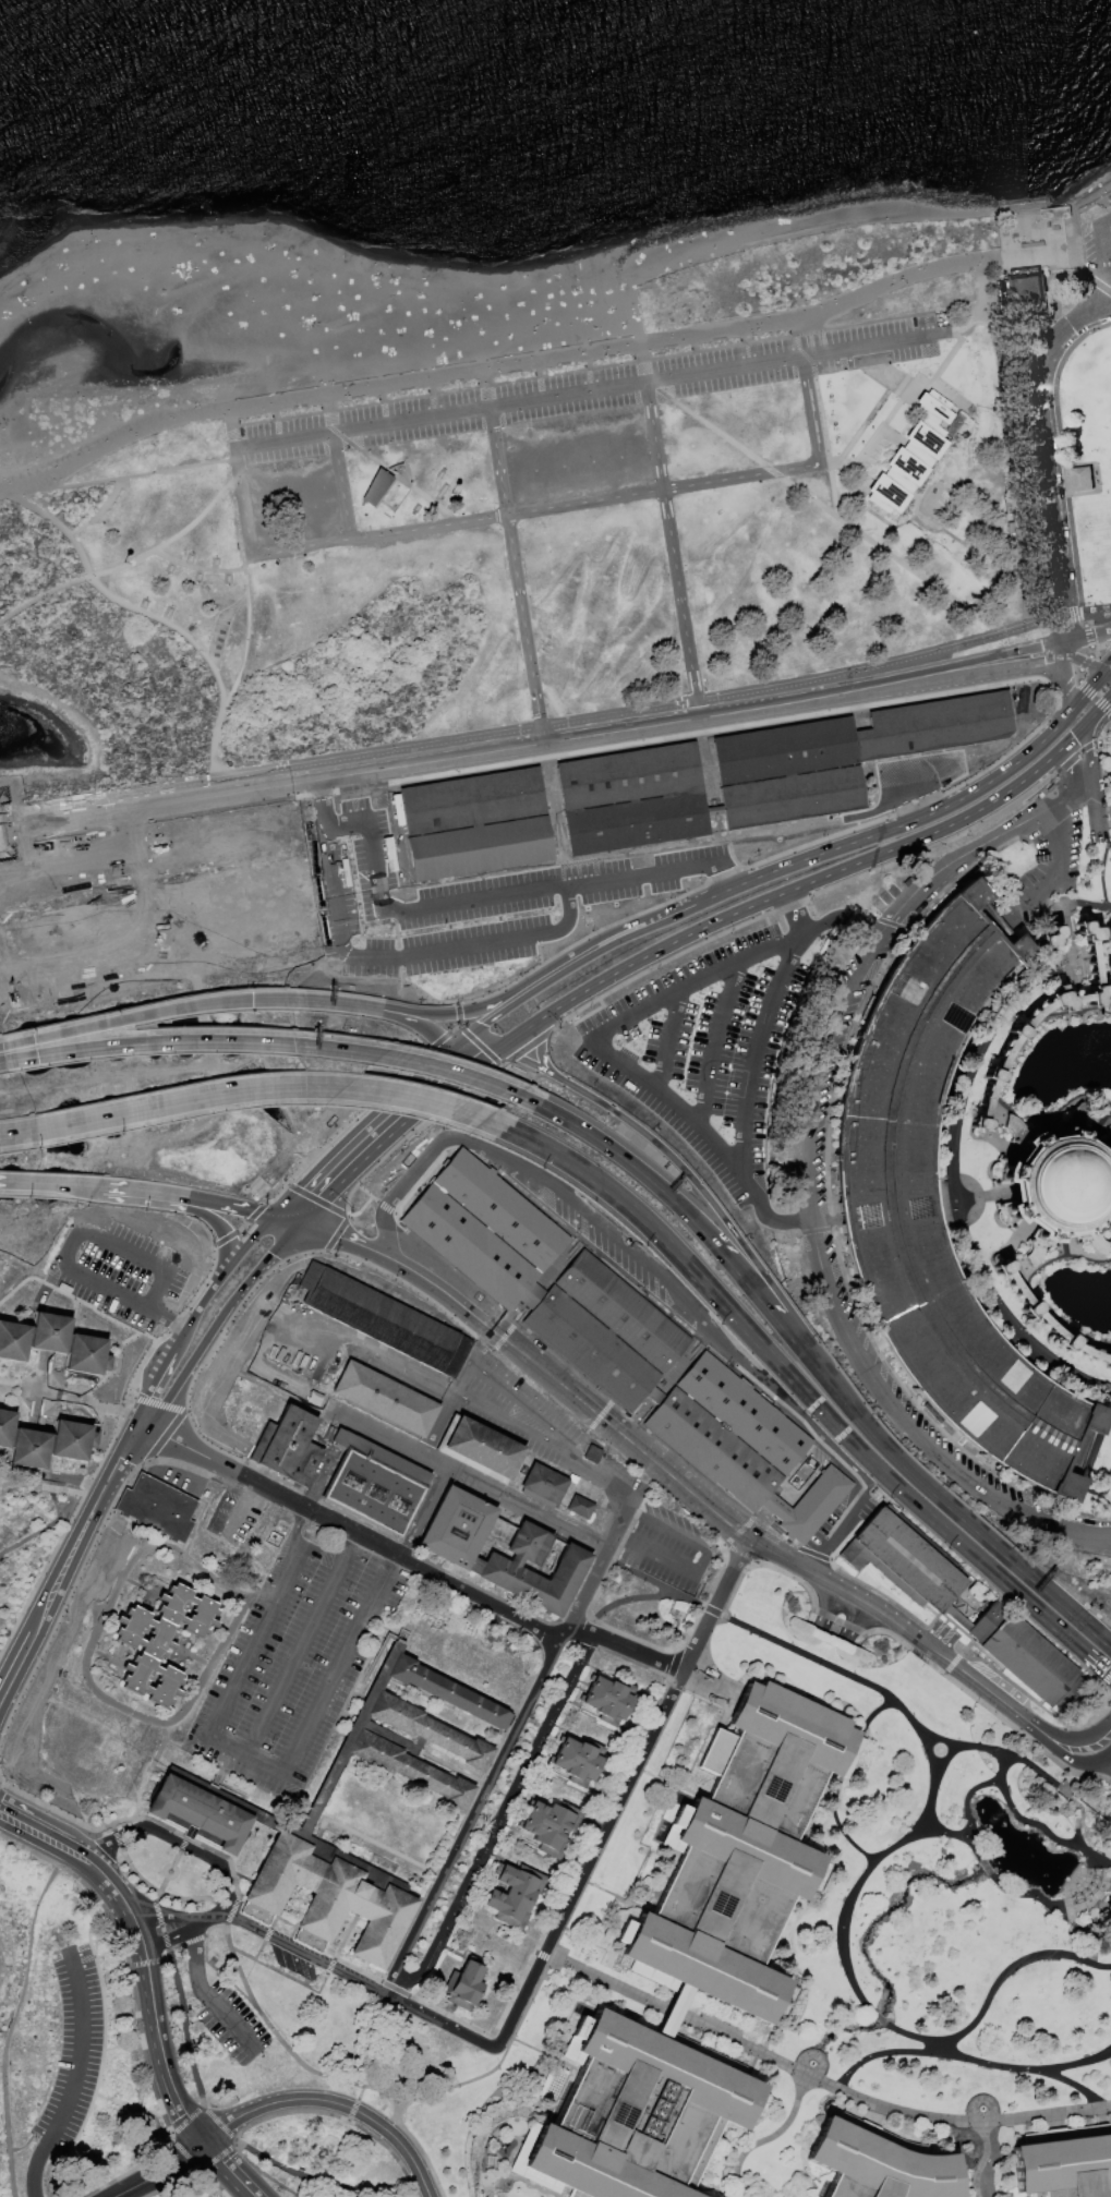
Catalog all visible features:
road: (1074, 214)
road: (1104, 222)
parking lot: (1097, 246)
road: (1104, 255)
road: (880, 288)
building: (1026, 292)
park: (111, 303)
road: (982, 304)
road: (983, 322)
road: (1032, 323)
road: (745, 348)
road: (642, 365)
road: (587, 369)
road: (538, 376)
road: (485, 384)
parking lot: (587, 388)
road: (594, 393)
road: (431, 394)
road: (312, 399)
wind turbine: (820, 399)
road: (382, 401)
road: (328, 410)
road: (871, 411)
road: (811, 412)
road: (819, 415)
road: (275, 419)
road: (233, 425)
road: (1043, 440)
wind turbine: (828, 443)
road: (575, 447)
park: (1089, 454)
building: (911, 457)
road: (1009, 466)
road: (118, 478)
building: (1079, 478)
road: (396, 480)
building: (375, 487)
road: (340, 488)
road: (242, 505)
road: (822, 507)
road: (97, 510)
road: (535, 510)
road: (172, 536)
road: (671, 552)
road: (195, 568)
road: (515, 577)
road: (41, 593)
road: (118, 601)
road: (1088, 611)
road: (217, 623)
road: (1030, 626)
road: (1064, 632)
road: (1085, 638)
road: (1085, 662)
road: (1085, 664)
road: (241, 668)
road: (1064, 686)
road: (1084, 695)
road: (1091, 696)
road: (1098, 710)
traffic signals: (1061, 721)
building: (932, 725)
traffic signals: (1085, 725)
road: (551, 727)
road: (1046, 734)
road: (1072, 735)
road: (594, 736)
building: (783, 749)
road: (1086, 756)
road: (1071, 764)
road: (918, 770)
building: (626, 776)
road: (290, 777)
road: (909, 792)
building: (788, 796)
building: (470, 801)
road: (72, 804)
road: (1091, 811)
road: (21, 812)
road: (86, 819)
road: (1050, 820)
building: (633, 822)
road: (22, 829)
road: (861, 836)
road: (261, 846)
building: (478, 848)
road: (969, 850)
road: (655, 868)
parking lot: (1047, 871)
road: (1101, 872)
parking lot: (612, 874)
road: (1051, 876)
road: (808, 881)
road: (1060, 892)
road: (1083, 904)
road: (796, 915)
road: (841, 918)
road: (546, 929)
road: (226, 939)
building: (1050, 940)
road: (607, 944)
road: (418, 979)
road: (266, 999)
traffic signals: (250, 1000)
road: (319, 1001)
road: (496, 1003)
road: (1095, 1009)
road: (407, 1010)
traffic signals: (476, 1010)
road: (456, 1011)
road: (399, 1018)
road: (490, 1018)
road: (134, 1019)
traffic signals: (411, 1023)
road: (544, 1024)
road: (523, 1030)
building: (1018, 1033)
road: (447, 1034)
road: (980, 1036)
road: (666, 1039)
road: (473, 1040)
road: (597, 1040)
road: (259, 1042)
road: (712, 1043)
road: (10, 1046)
road: (440, 1047)
road: (526, 1048)
parking lot: (707, 1048)
road: (470, 1049)
traffic signals: (539, 1049)
traffic signals: (445, 1051)
traffic signals: (495, 1051)
road: (504, 1053)
road: (541, 1057)
road: (1, 1062)
road: (531, 1064)
road: (467, 1070)
road: (447, 1071)
road: (819, 1072)
road: (749, 1074)
road: (1010, 1075)
road: (403, 1083)
road: (265, 1085)
road: (255, 1090)
traffic signals: (440, 1090)
road: (522, 1100)
road: (534, 1104)
park: (1041, 1116)
building: (1094, 1116)
road: (488, 1124)
road: (1098, 1125)
road: (1046, 1127)
road: (503, 1130)
building: (1109, 1130)
building: (1000, 1132)
road: (15, 1133)
road: (990, 1135)
road: (607, 1148)
road: (365, 1156)
road: (314, 1166)
road: (1109, 1176)
road: (46, 1184)
road: (1055, 1185)
road: (1056, 1185)
building: (1055, 1186)
road: (1055, 1186)
road: (1056, 1187)
road: (363, 1191)
road: (138, 1192)
parking lot: (808, 1192)
road: (275, 1194)
road: (306, 1194)
building: (886, 1195)
road: (944, 1202)
road: (219, 1206)
road: (360, 1208)
building: (497, 1209)
road: (208, 1215)
road: (720, 1215)
building: (1110, 1215)
road: (259, 1216)
traffic signals: (266, 1218)
road: (824, 1218)
road: (343, 1219)
traffic signals: (216, 1221)
road: (279, 1221)
road: (787, 1221)
road: (1104, 1221)
traffic signals: (293, 1226)
road: (240, 1228)
road: (313, 1232)
building: (1110, 1240)
road: (245, 1241)
road: (620, 1241)
building: (467, 1246)
road: (70, 1247)
road: (1065, 1247)
road: (362, 1251)
road: (227, 1252)
road: (1010, 1255)
building: (1019, 1255)
park: (507, 1267)
parking lot: (121, 1276)
road: (1028, 1292)
road: (204, 1296)
road: (760, 1297)
road: (986, 1299)
road: (81, 1304)
road: (233, 1312)
building: (619, 1312)
building: (1032, 1314)
building: (384, 1321)
road: (214, 1324)
road: (168, 1329)
building: (50, 1333)
building: (13, 1341)
road: (134, 1341)
building: (585, 1345)
road: (167, 1352)
building: (88, 1356)
road: (377, 1357)
road: (120, 1359)
road: (114, 1373)
road: (786, 1383)
road: (40, 1389)
road: (457, 1395)
road: (141, 1398)
building: (387, 1400)
road: (94, 1402)
road: (110, 1409)
road: (119, 1411)
road: (531, 1412)
road: (182, 1413)
building: (740, 1413)
building: (5, 1427)
road: (909, 1429)
parking lot: (548, 1433)
road: (100, 1438)
building: (73, 1440)
road: (541, 1442)
building: (478, 1447)
building: (290, 1448)
building: (709, 1448)
building: (32, 1450)
road: (101, 1453)
building: (590, 1453)
road: (137, 1464)
road: (1088, 1470)
parking lot: (176, 1472)
road: (466, 1478)
building: (571, 1478)
park: (1098, 1480)
building: (542, 1484)
building: (375, 1486)
road: (48, 1490)
road: (1101, 1492)
road: (55, 1505)
building: (806, 1505)
building: (578, 1506)
building: (155, 1507)
road: (93, 1508)
road: (705, 1508)
road: (954, 1512)
road: (636, 1513)
road: (423, 1514)
parking lot: (241, 1519)
building: (454, 1526)
road: (43, 1529)
road: (123, 1531)
road: (834, 1532)
road: (623, 1540)
road: (191, 1544)
parking lot: (668, 1553)
building: (902, 1559)
road: (406, 1562)
road: (700, 1565)
road: (39, 1571)
building: (502, 1571)
road: (594, 1572)
road: (217, 1578)
road: (121, 1580)
road: (655, 1588)
road: (256, 1597)
road: (620, 1602)
road: (714, 1608)
road: (829, 1608)
road: (39, 1613)
road: (854, 1620)
road: (263, 1622)
road: (49, 1630)
road: (1092, 1631)
building: (159, 1641)
road: (301, 1644)
parking lot: (824, 1652)
road: (15, 1654)
building: (1022, 1655)
road: (1088, 1657)
parking lot: (297, 1658)
road: (339, 1664)
road: (16, 1670)
road: (1110, 1673)
road: (837, 1675)
building: (603, 1701)
road: (873, 1717)
road: (159, 1724)
building: (410, 1733)
road: (1077, 1739)
road: (966, 1749)
road: (246, 1751)
road: (1076, 1751)
road: (189, 1752)
road: (1058, 1752)
road: (1100, 1761)
building: (579, 1762)
road: (153, 1764)
road: (1099, 1769)
road: (932, 1779)
road: (1, 1785)
road: (999, 1788)
road: (965, 1800)
road: (17, 1810)
road: (56, 1811)
building: (201, 1812)
road: (472, 1816)
road: (128, 1818)
fountain: (993, 1819)
road: (14, 1823)
road: (502, 1825)
building: (552, 1827)
road: (838, 1828)
road: (112, 1831)
road: (958, 1836)
road: (178, 1840)
road: (64, 1843)
road: (27, 1851)
building: (741, 1857)
road: (590, 1863)
road: (985, 1868)
road: (114, 1891)
road: (158, 1893)
building: (328, 1895)
building: (515, 1896)
road: (847, 1908)
road: (1055, 1911)
road: (159, 1916)
road: (206, 1920)
road: (504, 1929)
road: (166, 1941)
road: (309, 1958)
road: (195, 1960)
building: (464, 1988)
road: (130, 1993)
road: (180, 1997)
road: (977, 2019)
road: (880, 2020)
road: (443, 2024)
road: (229, 2025)
road: (8, 2027)
parking lot: (239, 2030)
road: (156, 2032)
road: (79, 2050)
parking lot: (72, 2051)
road: (997, 2066)
road: (330, 2078)
road: (818, 2081)
road: (1079, 2085)
road: (358, 2095)
road: (291, 2100)
road: (350, 2110)
road: (395, 2112)
building: (637, 2114)
road: (335, 2116)
road: (184, 2120)
road: (216, 2122)
road: (233, 2139)
road: (769, 2139)
road: (182, 2156)
road: (214, 2158)
road: (243, 2159)
road: (410, 2159)
road: (982, 2160)
road: (425, 2161)
building: (880, 2163)
building: (1065, 2163)
road: (226, 2168)
road: (157, 2169)
road: (35, 2170)
road: (291, 2172)

